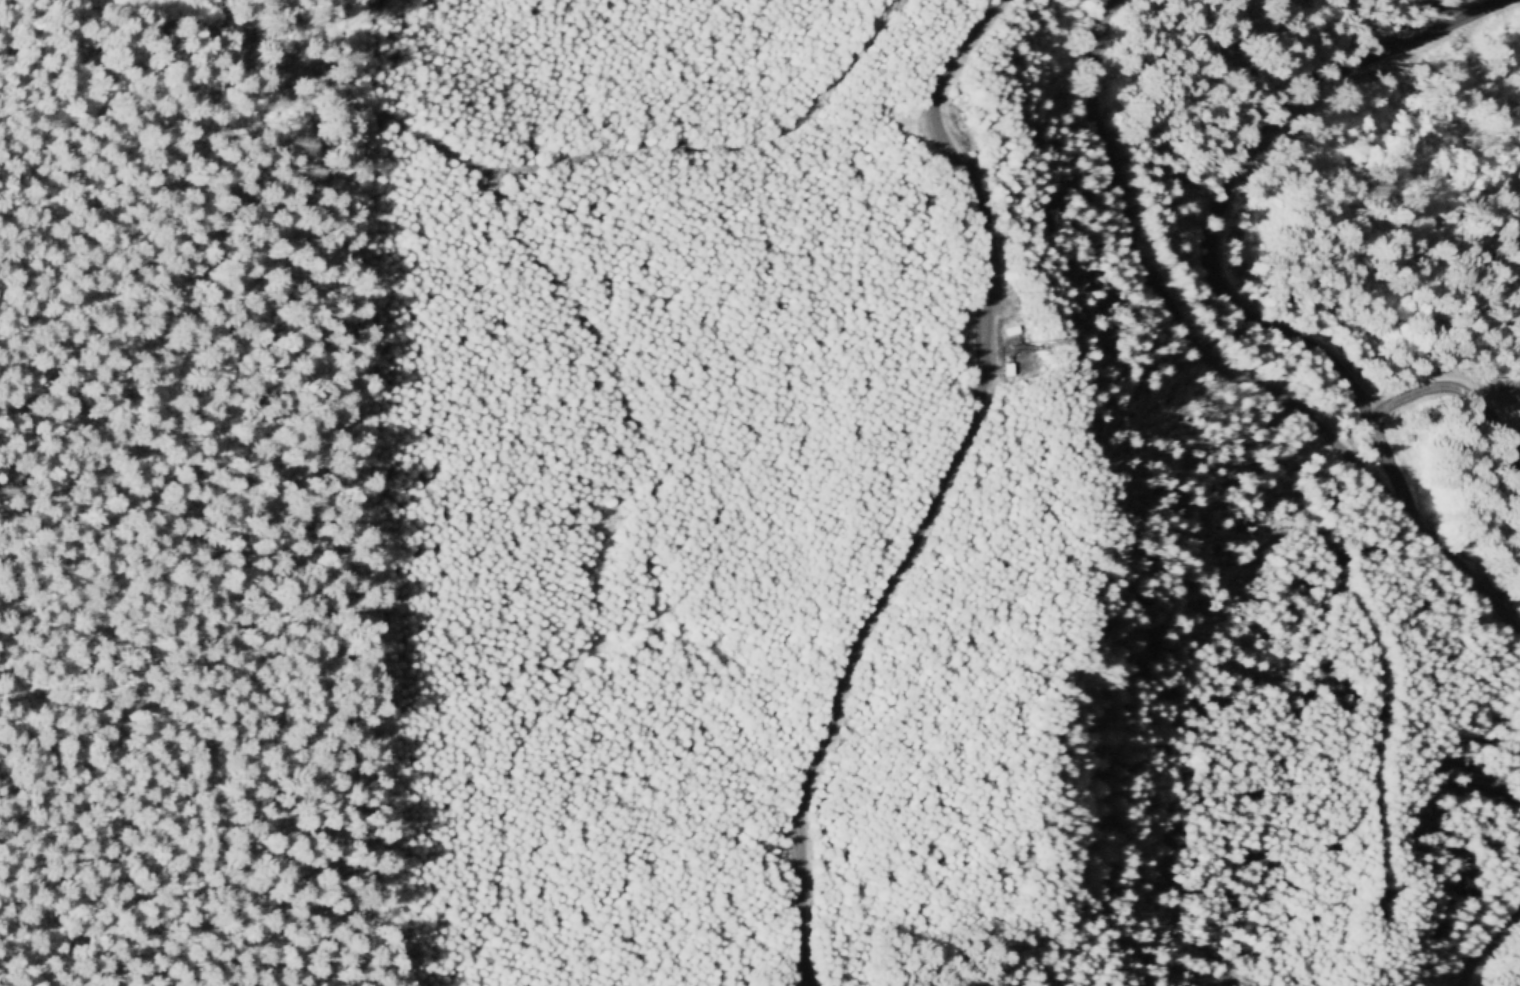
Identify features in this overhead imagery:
road: (946, 482)

